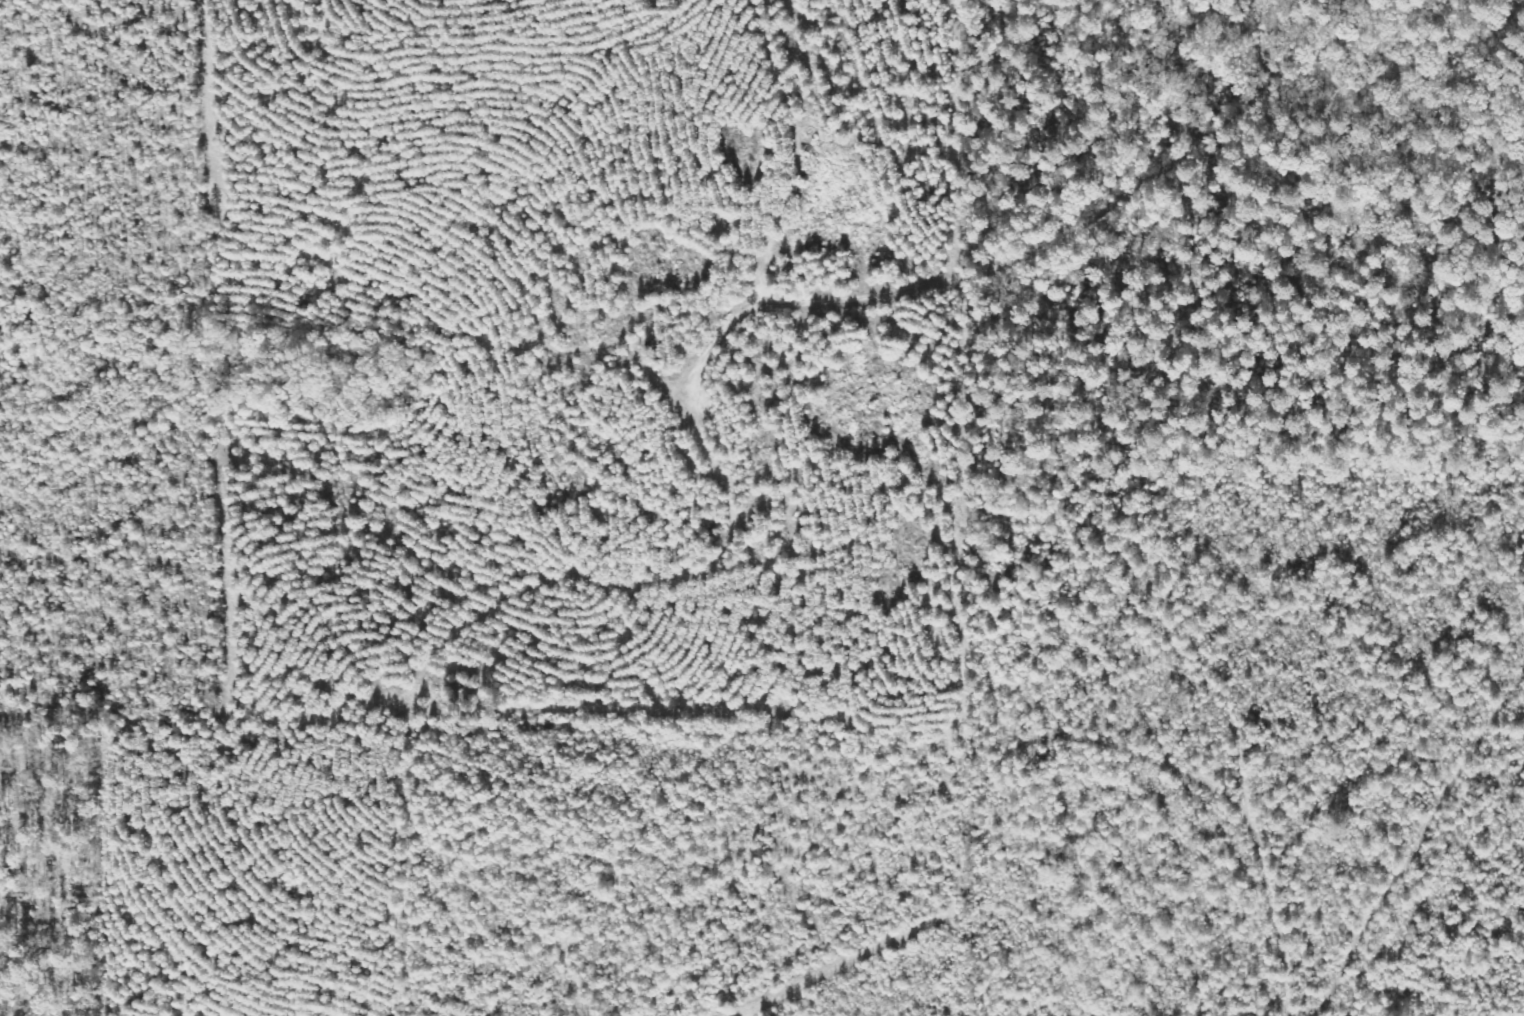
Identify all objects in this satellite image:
road: (1229, 852)

